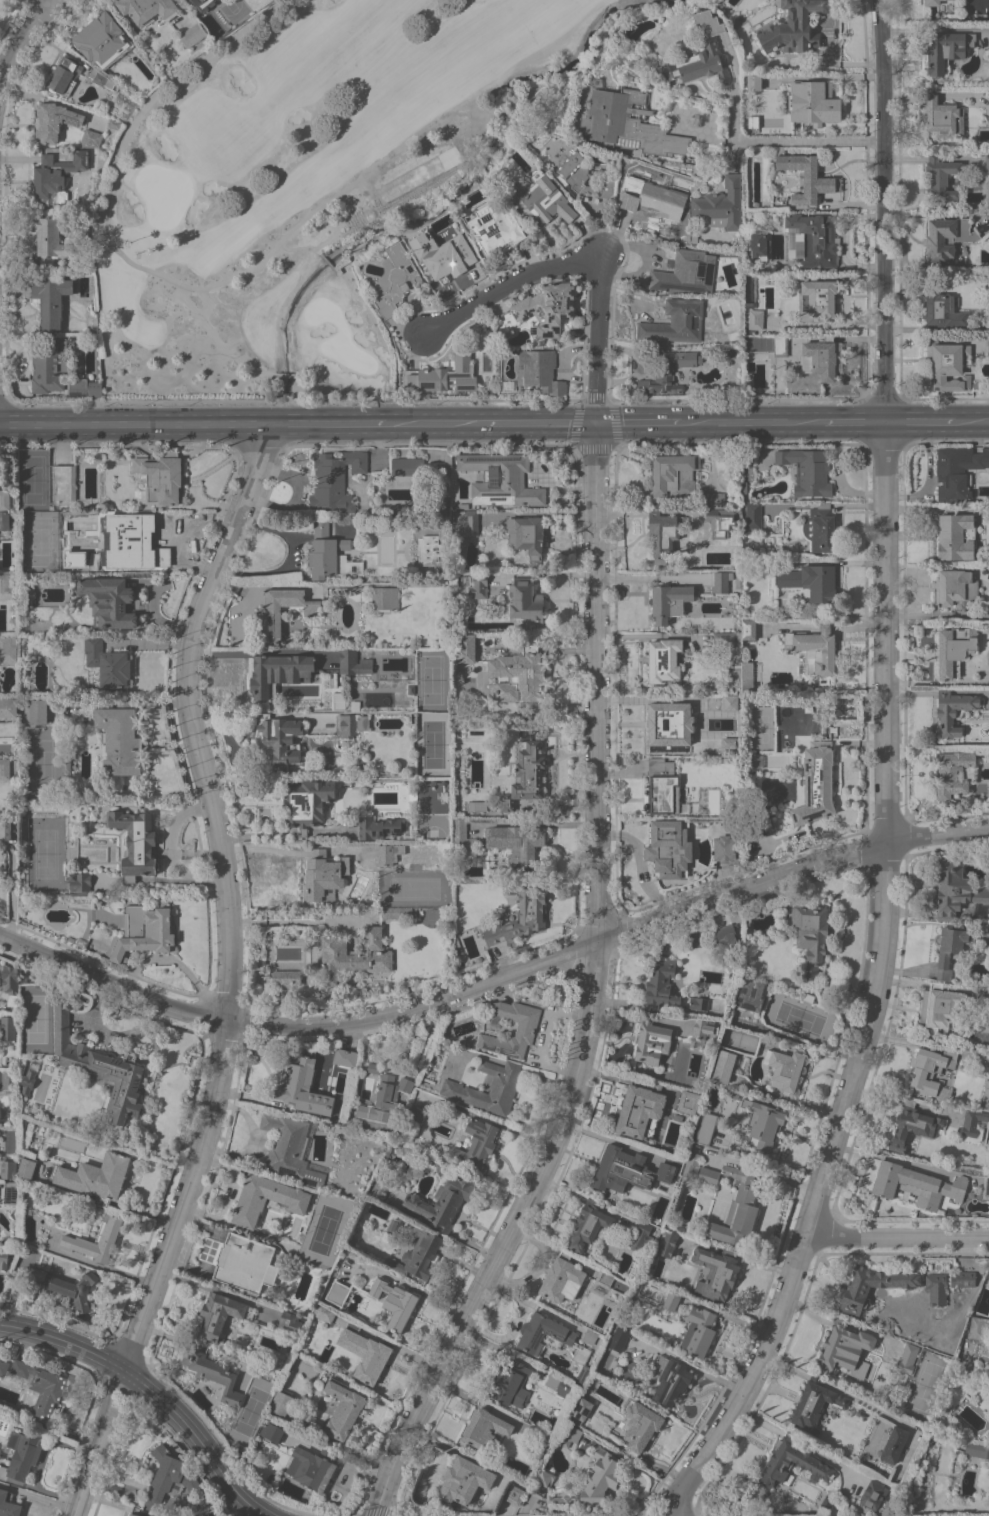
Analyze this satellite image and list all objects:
building: (932, 2)
building: (203, 4)
building: (147, 9)
building: (794, 27)
building: (192, 34)
building: (102, 40)
road: (21, 44)
building: (946, 47)
building: (701, 52)
building: (64, 74)
building: (100, 78)
road: (734, 89)
building: (761, 92)
building: (815, 103)
building: (943, 117)
building: (52, 121)
building: (627, 122)
building: (112, 123)
road: (694, 124)
road: (809, 137)
building: (89, 138)
building: (987, 164)
building: (53, 176)
building: (585, 176)
building: (807, 177)
building: (940, 178)
park: (301, 182)
building: (651, 197)
building: (542, 202)
building: (719, 205)
building: (751, 218)
building: (495, 229)
road: (107, 237)
building: (947, 238)
building: (694, 239)
building: (815, 239)
building: (50, 241)
building: (758, 244)
road: (588, 253)
building: (447, 263)
building: (686, 271)
building: (395, 279)
building: (819, 297)
building: (51, 299)
building: (546, 308)
building: (942, 310)
building: (755, 319)
building: (675, 322)
building: (987, 323)
building: (733, 336)
building: (986, 344)
building: (780, 346)
building: (756, 356)
building: (822, 358)
building: (948, 364)
building: (46, 366)
building: (541, 370)
building: (667, 371)
building: (446, 375)
building: (975, 386)
building: (82, 387)
road: (972, 420)
road: (919, 421)
road: (854, 422)
road: (106, 423)
road: (433, 423)
traffic signals: (600, 423)
road: (639, 423)
road: (752, 423)
road: (239, 424)
building: (408, 466)
building: (807, 470)
building: (957, 471)
building: (674, 475)
building: (161, 477)
building: (501, 479)
building: (64, 481)
building: (335, 481)
building: (7, 499)
building: (711, 500)
building: (753, 518)
building: (7, 521)
building: (719, 521)
building: (466, 522)
building: (819, 528)
building: (663, 533)
building: (527, 535)
building: (955, 536)
building: (119, 543)
building: (428, 549)
building: (330, 554)
road: (290, 558)
building: (721, 581)
building: (811, 581)
building: (478, 585)
building: (6, 587)
building: (956, 587)
building: (30, 594)
building: (384, 598)
building: (108, 601)
building: (526, 601)
building: (669, 601)
building: (268, 614)
building: (748, 629)
building: (291, 641)
building: (729, 644)
building: (8, 648)
building: (466, 648)
building: (815, 649)
building: (954, 650)
building: (663, 659)
building: (107, 662)
building: (354, 662)
building: (278, 672)
building: (517, 675)
building: (747, 676)
building: (410, 689)
building: (734, 702)
building: (8, 707)
building: (953, 710)
building: (35, 711)
building: (362, 722)
building: (688, 723)
building: (346, 726)
building: (119, 739)
building: (279, 739)
building: (754, 762)
building: (66, 763)
building: (7, 768)
building: (954, 774)
building: (525, 776)
road: (885, 781)
building: (662, 786)
building: (816, 790)
building: (308, 803)
building: (378, 827)
building: (11, 829)
building: (758, 829)
building: (462, 836)
building: (516, 842)
building: (135, 843)
building: (668, 849)
building: (724, 849)
building: (25, 853)
building: (389, 854)
building: (324, 875)
building: (78, 881)
building: (956, 889)
road: (10, 890)
road: (225, 895)
building: (389, 912)
building: (521, 916)
building: (139, 932)
building: (809, 934)
building: (727, 935)
building: (77, 941)
building: (950, 948)
building: (348, 954)
building: (23, 976)
building: (284, 977)
road: (495, 979)
building: (11, 982)
building: (660, 984)
building: (387, 987)
road: (591, 992)
building: (751, 995)
building: (987, 996)
building: (698, 1003)
building: (937, 1009)
building: (8, 1027)
building: (512, 1028)
building: (703, 1028)
building: (652, 1041)
road: (901, 1041)
building: (345, 1057)
building: (100, 1066)
building: (723, 1066)
building: (373, 1067)
building: (785, 1069)
building: (933, 1070)
building: (4, 1078)
building: (27, 1081)
building: (304, 1088)
building: (457, 1088)
building: (390, 1091)
building: (734, 1093)
building: (985, 1097)
building: (688, 1101)
building: (366, 1109)
building: (641, 1110)
building: (415, 1112)
building: (972, 1122)
building: (370, 1123)
building: (762, 1124)
building: (913, 1125)
building: (705, 1127)
building: (384, 1137)
building: (713, 1138)
building: (476, 1143)
building: (289, 1148)
building: (391, 1150)
building: (692, 1159)
building: (26, 1168)
building: (8, 1169)
building: (621, 1169)
building: (668, 1169)
building: (97, 1177)
building: (916, 1184)
building: (985, 1186)
building: (380, 1188)
building: (10, 1193)
building: (444, 1197)
building: (293, 1201)
building: (872, 1203)
building: (736, 1208)
building: (394, 1226)
building: (587, 1226)
building: (682, 1227)
road: (896, 1236)
building: (641, 1237)
building: (96, 1240)
building: (667, 1243)
building: (418, 1254)
building: (3, 1258)
building: (245, 1263)
building: (988, 1268)
building: (716, 1272)
building: (963, 1278)
building: (562, 1279)
building: (602, 1281)
building: (67, 1287)
building: (936, 1288)
building: (856, 1290)
building: (337, 1292)
building: (671, 1300)
building: (394, 1302)
building: (323, 1312)
building: (220, 1313)
building: (289, 1322)
building: (979, 1327)
building: (698, 1332)
building: (548, 1336)
building: (589, 1337)
building: (618, 1337)
road: (63, 1339)
building: (844, 1350)
building: (365, 1354)
building: (907, 1358)
road: (781, 1365)
road: (691, 1366)
building: (214, 1373)
building: (581, 1375)
building: (671, 1379)
building: (510, 1383)
building: (37, 1384)
building: (558, 1384)
road: (116, 1388)
building: (815, 1401)
building: (281, 1403)
building: (343, 1408)
building: (581, 1410)
building: (639, 1426)
building: (485, 1428)
building: (271, 1432)
building: (568, 1435)
road: (197, 1440)
building: (539, 1444)
building: (894, 1444)
building: (976, 1449)
building: (22, 1454)
road: (93, 1461)
building: (792, 1463)
building: (311, 1467)
building: (607, 1475)
building: (169, 1476)
building: (464, 1480)
road: (41, 1488)
building: (513, 1494)
building: (873, 1494)
building: (8, 1504)
building: (129, 1514)
building: (133, 1514)

